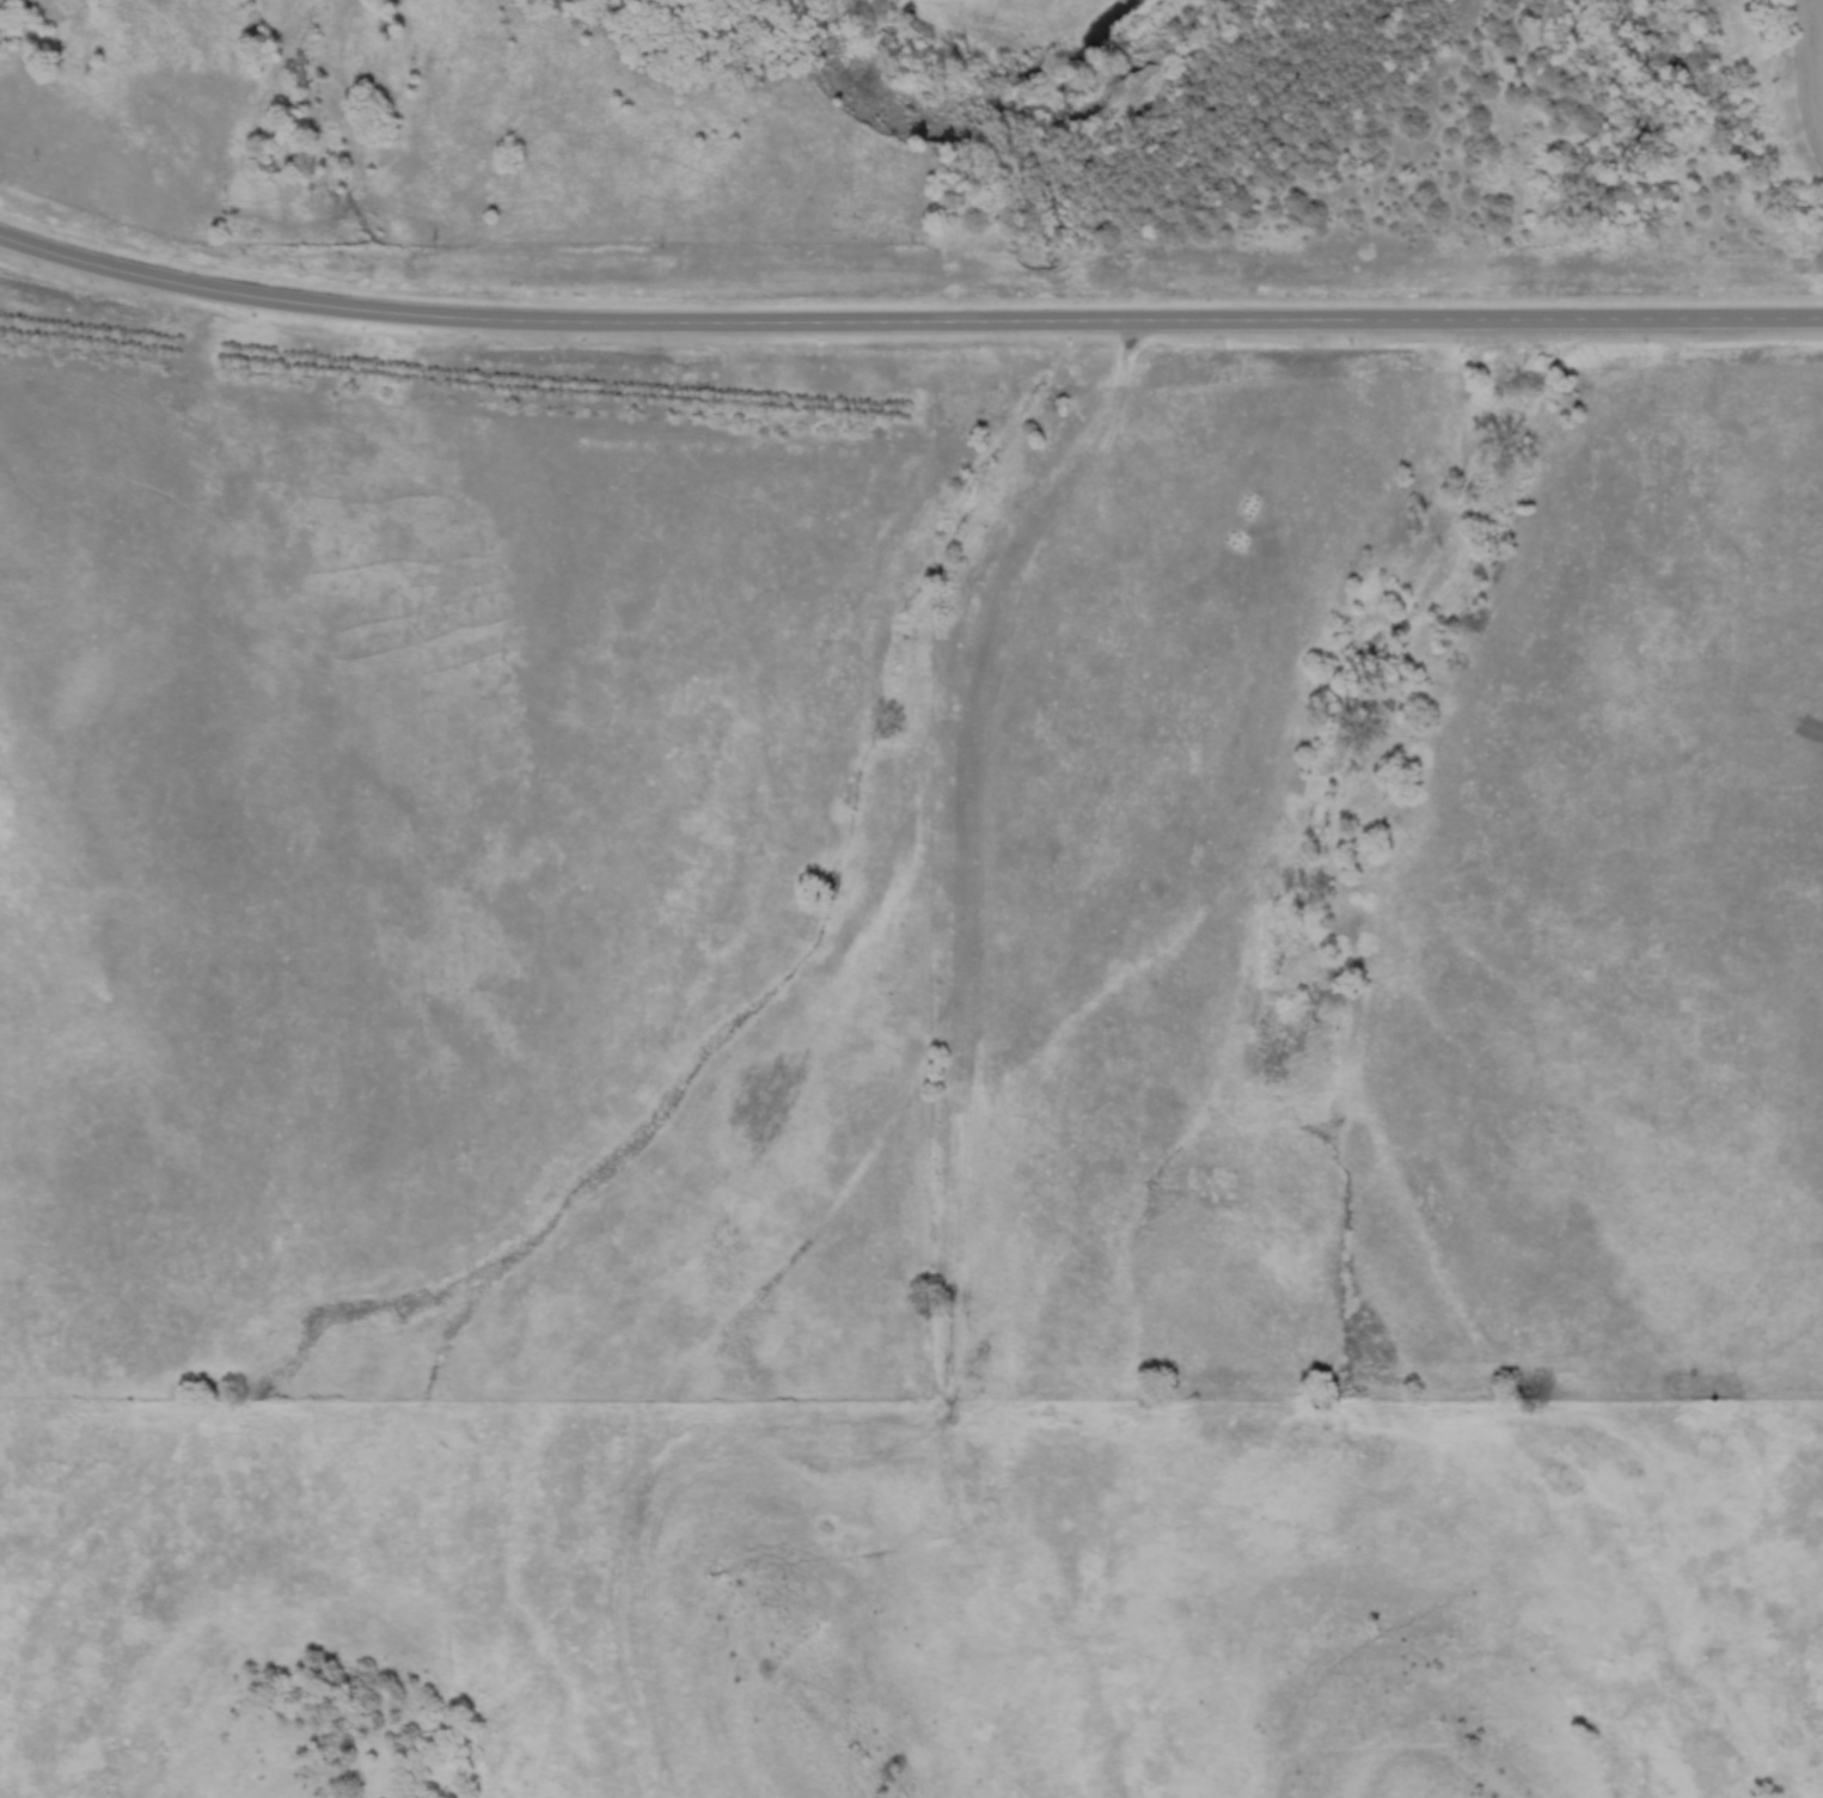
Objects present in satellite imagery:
road: (906, 329)

